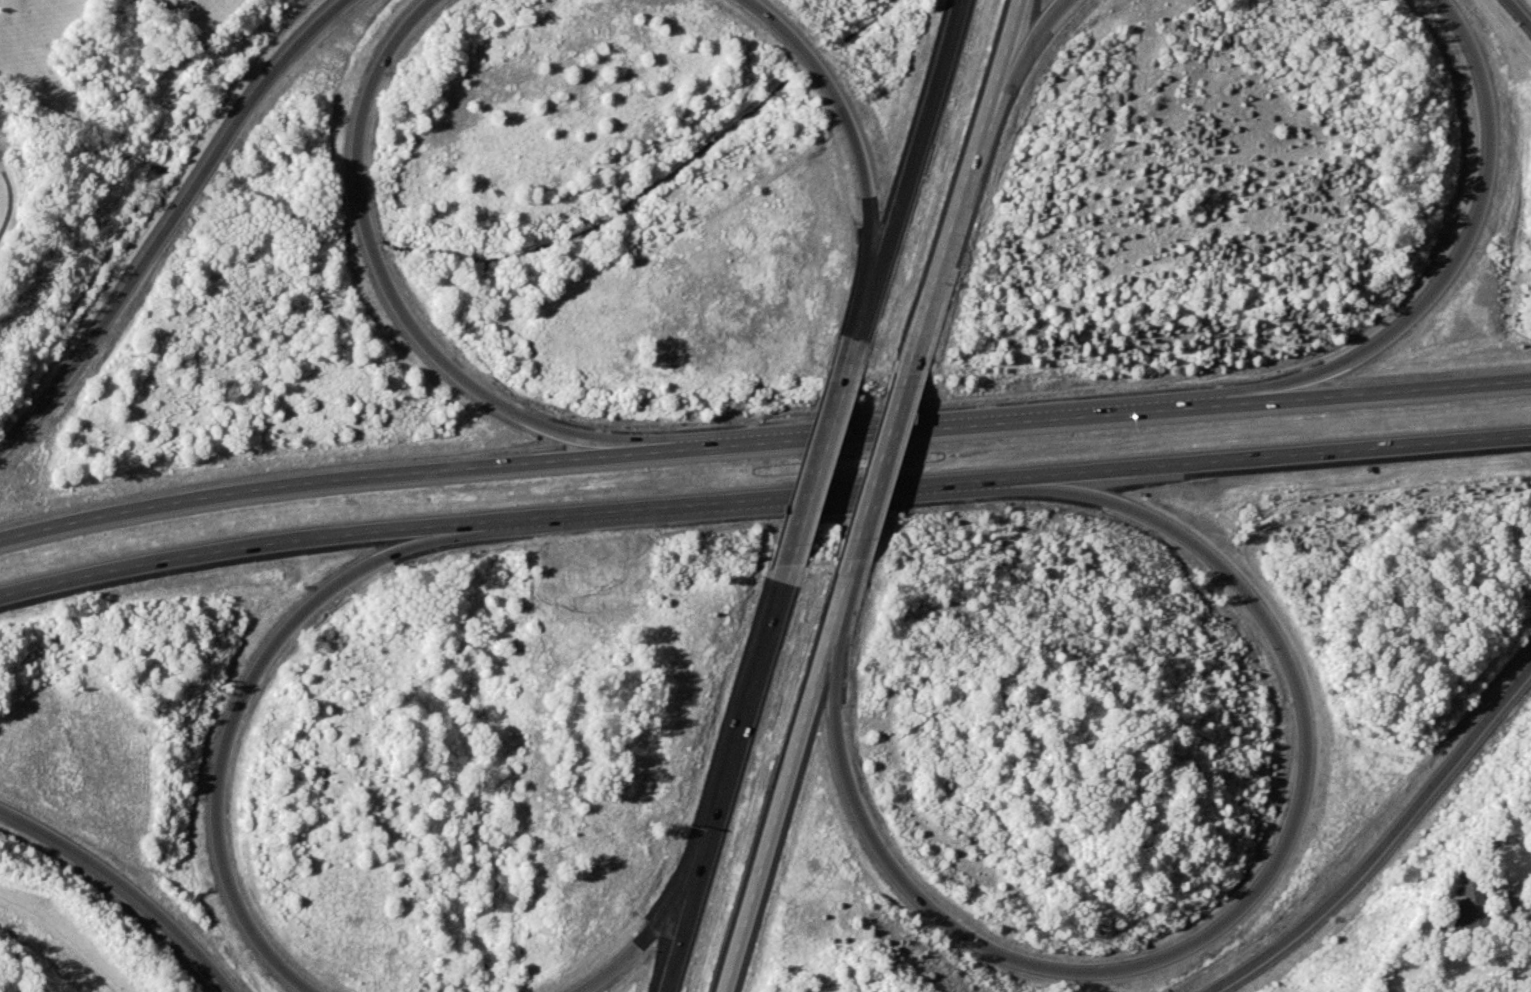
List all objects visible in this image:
road: (1518, 14)
road: (1024, 40)
road: (1005, 42)
road: (847, 125)
road: (915, 142)
road: (11, 203)
road: (951, 217)
road: (164, 222)
road: (1463, 245)
road: (378, 273)
road: (858, 332)
road: (1396, 391)
road: (934, 429)
road: (1289, 454)
road: (879, 456)
road: (813, 476)
road: (300, 484)
road: (758, 497)
road: (233, 547)
road: (837, 608)
road: (236, 711)
road: (745, 713)
road: (776, 823)
road: (1386, 846)
road: (126, 886)
road: (1513, 896)
building: (1468, 905)
road: (1229, 921)
road: (686, 922)
road: (648, 930)
road: (69, 934)

